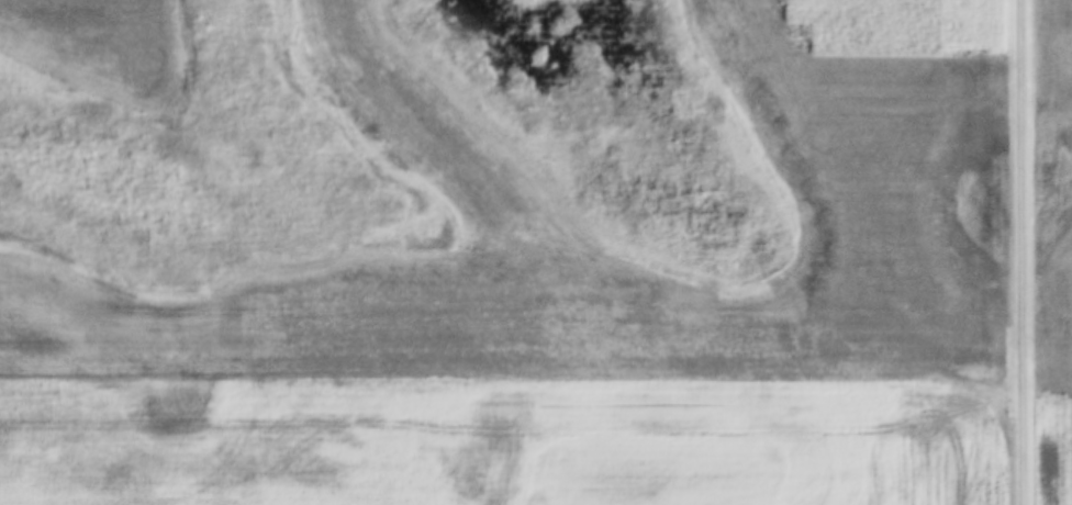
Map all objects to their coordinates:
road: (1029, 252)

